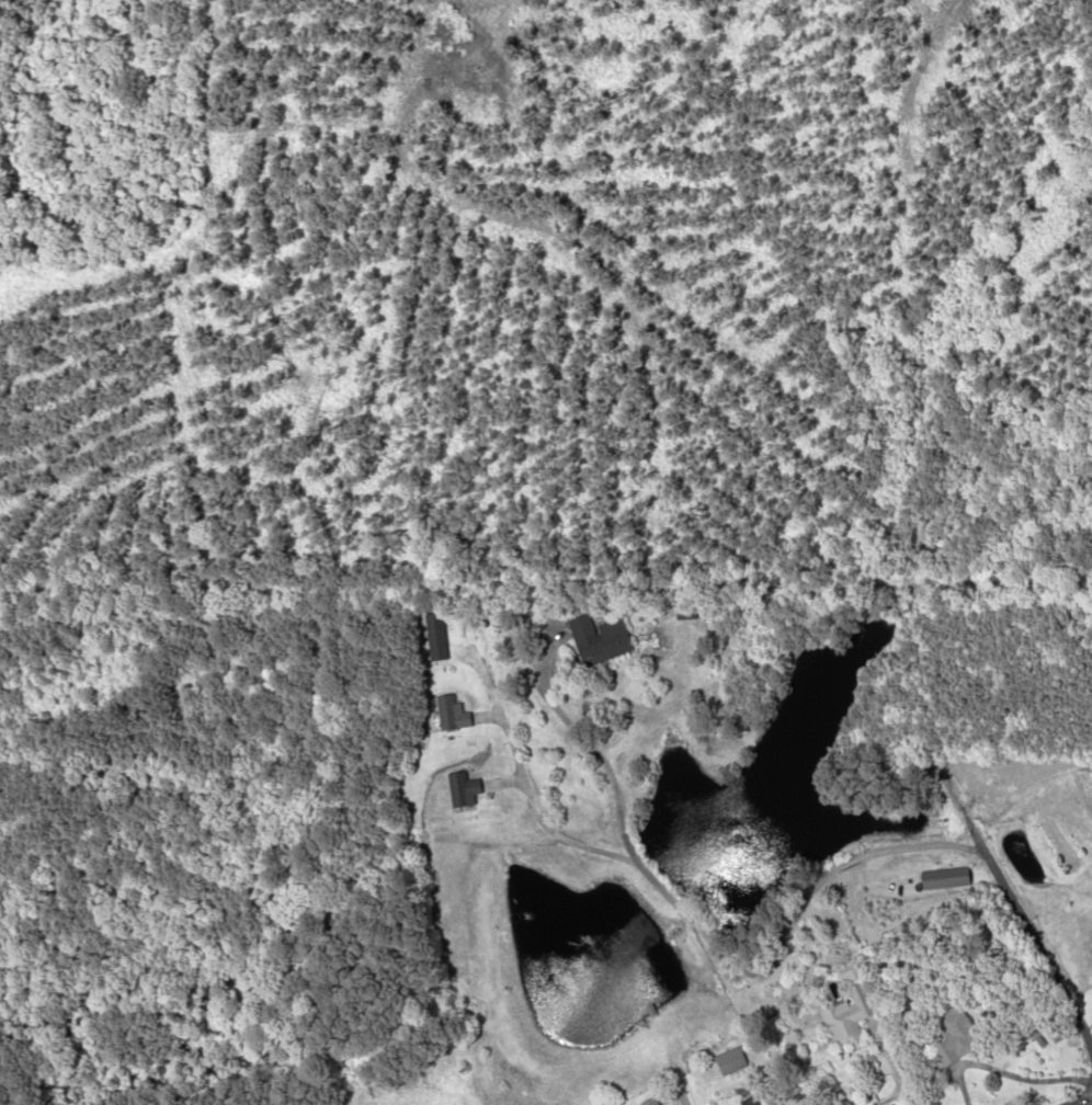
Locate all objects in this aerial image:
building: (687, 612)
building: (434, 637)
building: (601, 640)
building: (451, 715)
building: (463, 790)
building: (945, 878)
road: (771, 958)
building: (853, 1018)
building: (960, 1036)
building: (732, 1062)
road: (1034, 1080)
road: (1074, 1095)
road: (681, 1096)
building: (651, 1102)
building: (751, 1102)
building: (871, 1102)

